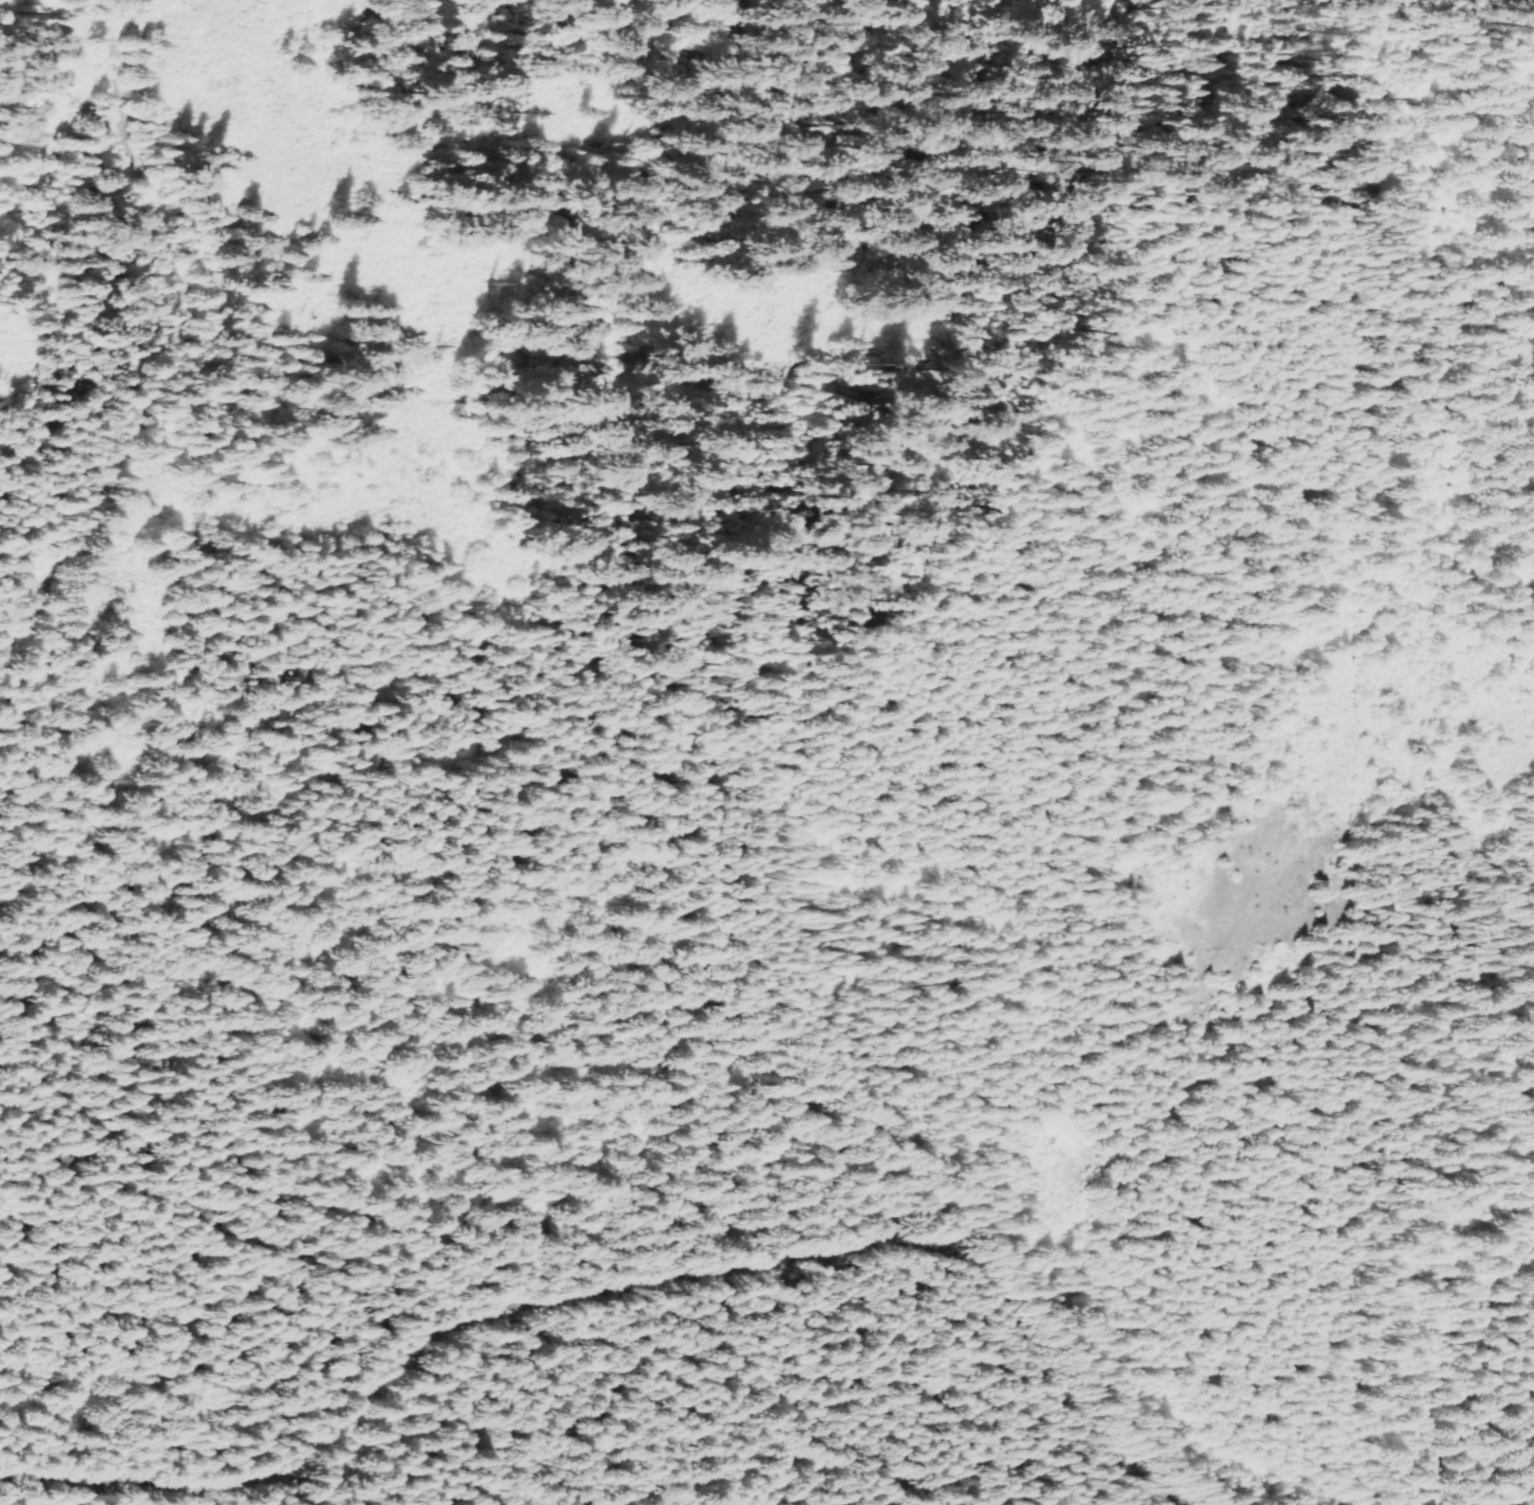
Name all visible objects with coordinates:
road: (161, 345)
road: (627, 1297)

